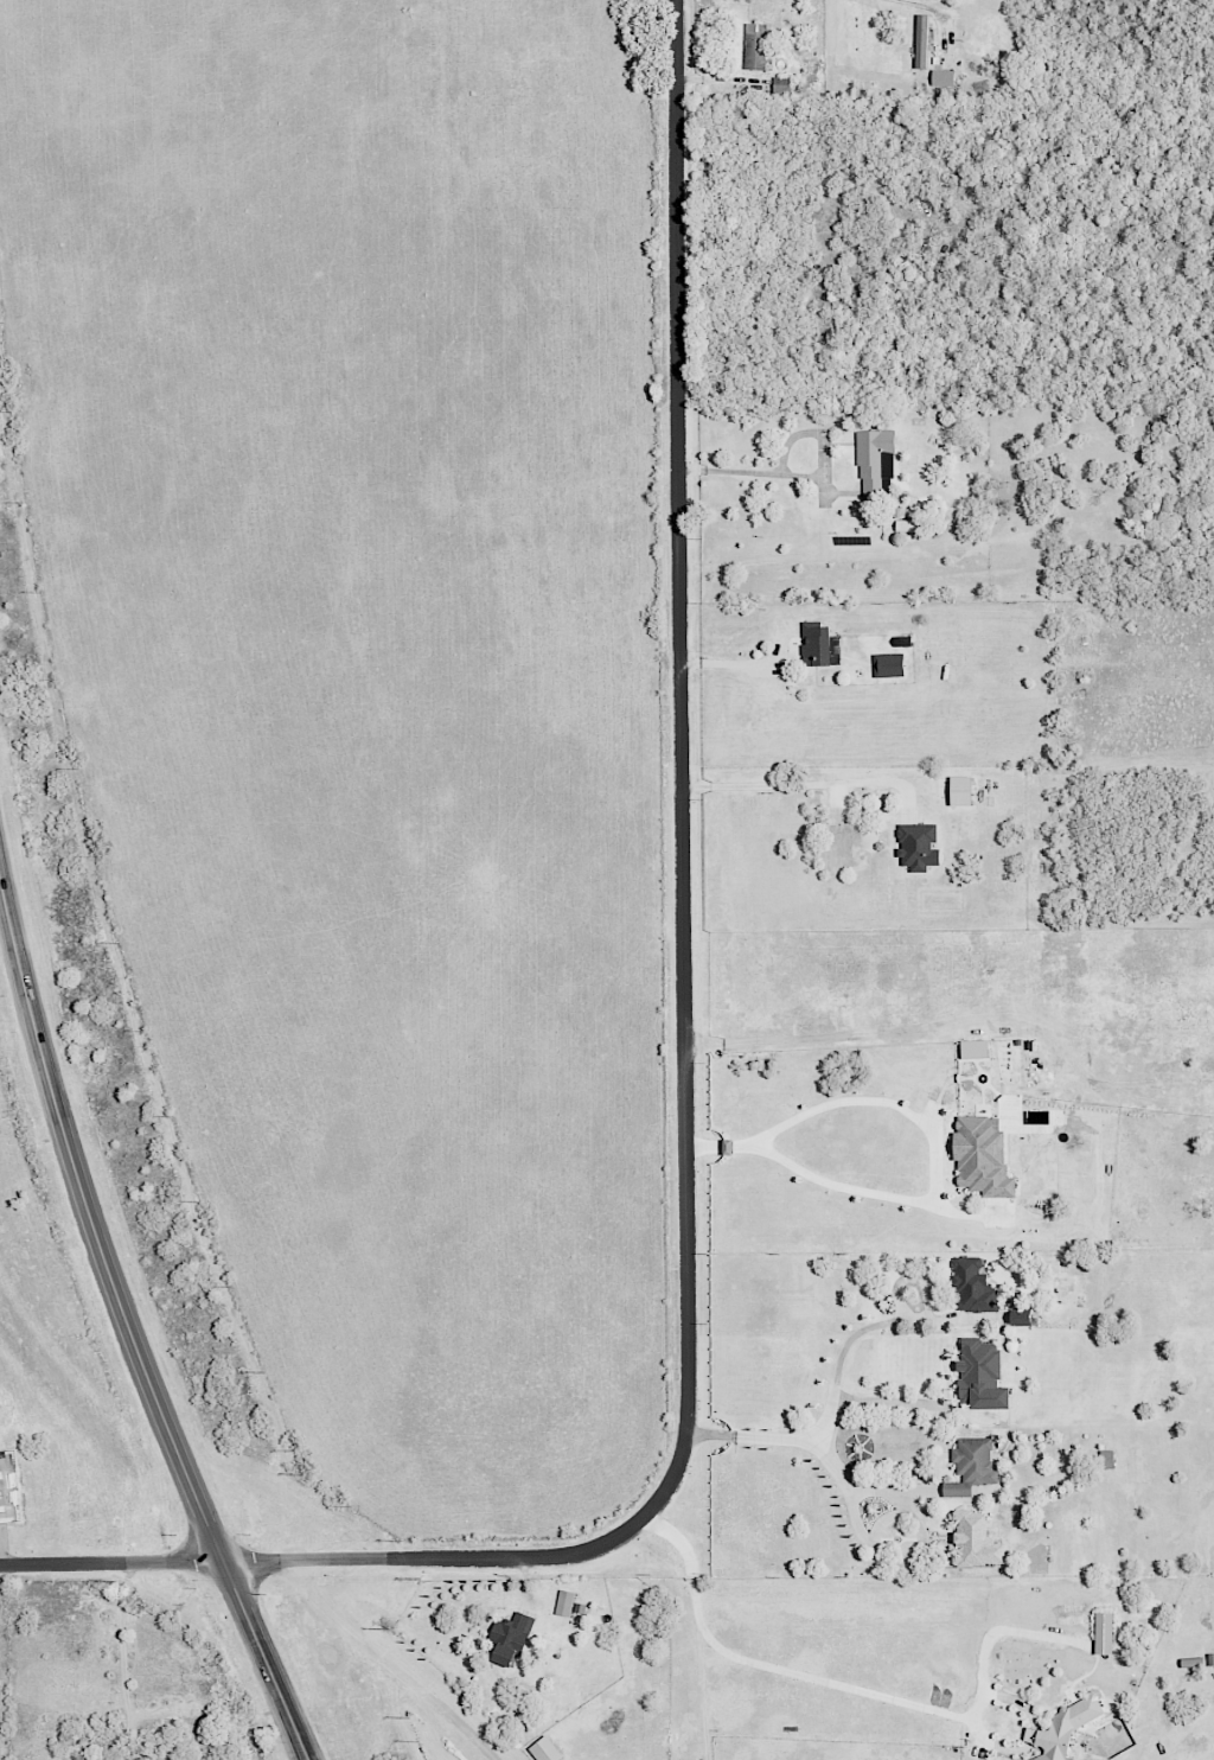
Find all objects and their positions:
road: (931, 9)
building: (924, 40)
building: (759, 45)
building: (945, 77)
building: (875, 461)
road: (804, 476)
building: (909, 525)
building: (820, 645)
building: (893, 664)
road: (763, 784)
building: (965, 791)
building: (921, 847)
road: (685, 981)
road: (928, 1129)
building: (986, 1156)
building: (976, 1284)
building: (1027, 1316)
road: (128, 1333)
building: (989, 1373)
road: (835, 1375)
building: (1110, 1459)
building: (975, 1465)
building: (980, 1543)
road: (111, 1563)
building: (567, 1601)
building: (1107, 1632)
building: (516, 1638)
road: (123, 1660)
road: (386, 1663)
road: (852, 1689)
building: (1071, 1726)
building: (548, 1749)

